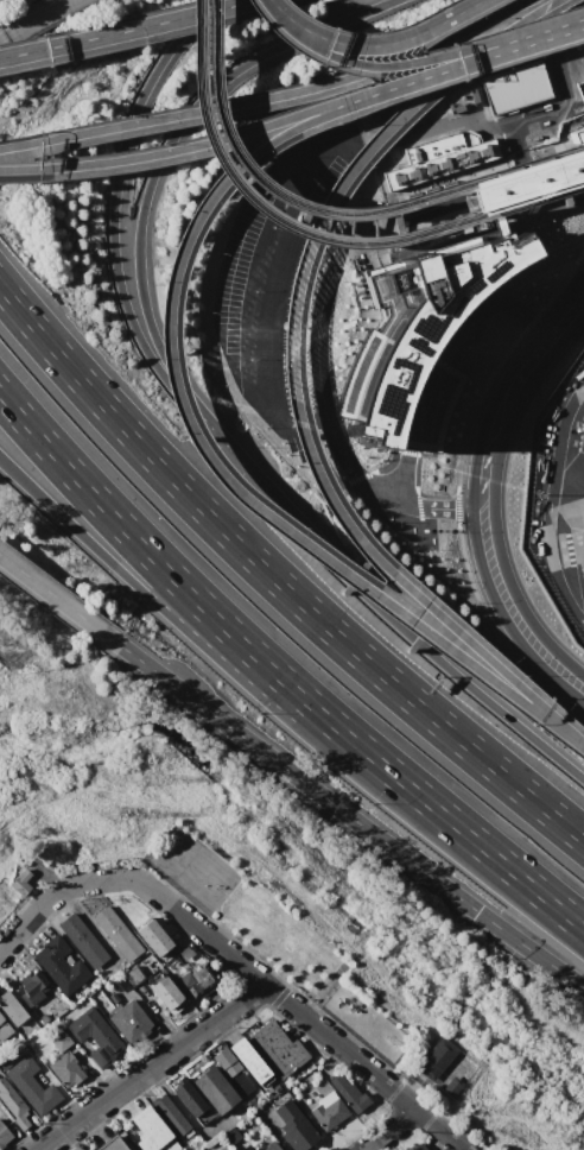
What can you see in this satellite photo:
road: (274, 10)
road: (34, 18)
road: (577, 21)
road: (125, 29)
road: (382, 43)
road: (420, 59)
road: (466, 59)
building: (513, 86)
road: (290, 91)
airport: (361, 114)
road: (166, 141)
road: (199, 143)
road: (21, 144)
building: (438, 157)
building: (303, 170)
building: (525, 182)
road: (113, 195)
railway: (324, 210)
building: (494, 225)
railway: (307, 234)
road: (178, 253)
street lamp: (559, 266)
street lamp: (557, 282)
street lamp: (520, 285)
road: (262, 287)
road: (500, 289)
road: (522, 317)
building: (413, 343)
street lamp: (502, 349)
road: (290, 375)
road: (319, 392)
street lamp: (476, 393)
road: (418, 402)
road: (239, 462)
street lamp: (456, 462)
street lamp: (429, 492)
road: (482, 497)
airport apron: (560, 497)
airport: (557, 498)
road: (547, 505)
road: (417, 506)
street lamp: (455, 531)
road: (275, 581)
road: (58, 601)
street lamp: (475, 601)
road: (419, 628)
road: (236, 638)
road: (434, 657)
road: (237, 674)
power tower: (153, 750)
power tower: (134, 777)
power tower: (109, 813)
road: (350, 817)
park: (191, 865)
building: (21, 883)
road: (56, 891)
road: (540, 893)
building: (116, 933)
building: (152, 939)
building: (81, 940)
park: (307, 962)
building: (61, 965)
building: (132, 975)
building: (197, 981)
building: (33, 985)
building: (166, 996)
building: (9, 1009)
road: (300, 1013)
building: (128, 1022)
building: (4, 1030)
building: (93, 1038)
building: (58, 1041)
building: (278, 1048)
building: (434, 1059)
building: (226, 1063)
building: (249, 1063)
road: (148, 1067)
building: (66, 1070)
building: (32, 1085)
building: (450, 1087)
building: (215, 1092)
building: (345, 1092)
building: (189, 1100)
building: (12, 1105)
building: (169, 1112)
building: (328, 1114)
building: (147, 1127)
building: (292, 1127)
road: (388, 1130)
building: (231, 1135)
building: (4, 1136)
building: (108, 1143)
building: (221, 1143)
building: (269, 1146)
building: (421, 1148)

